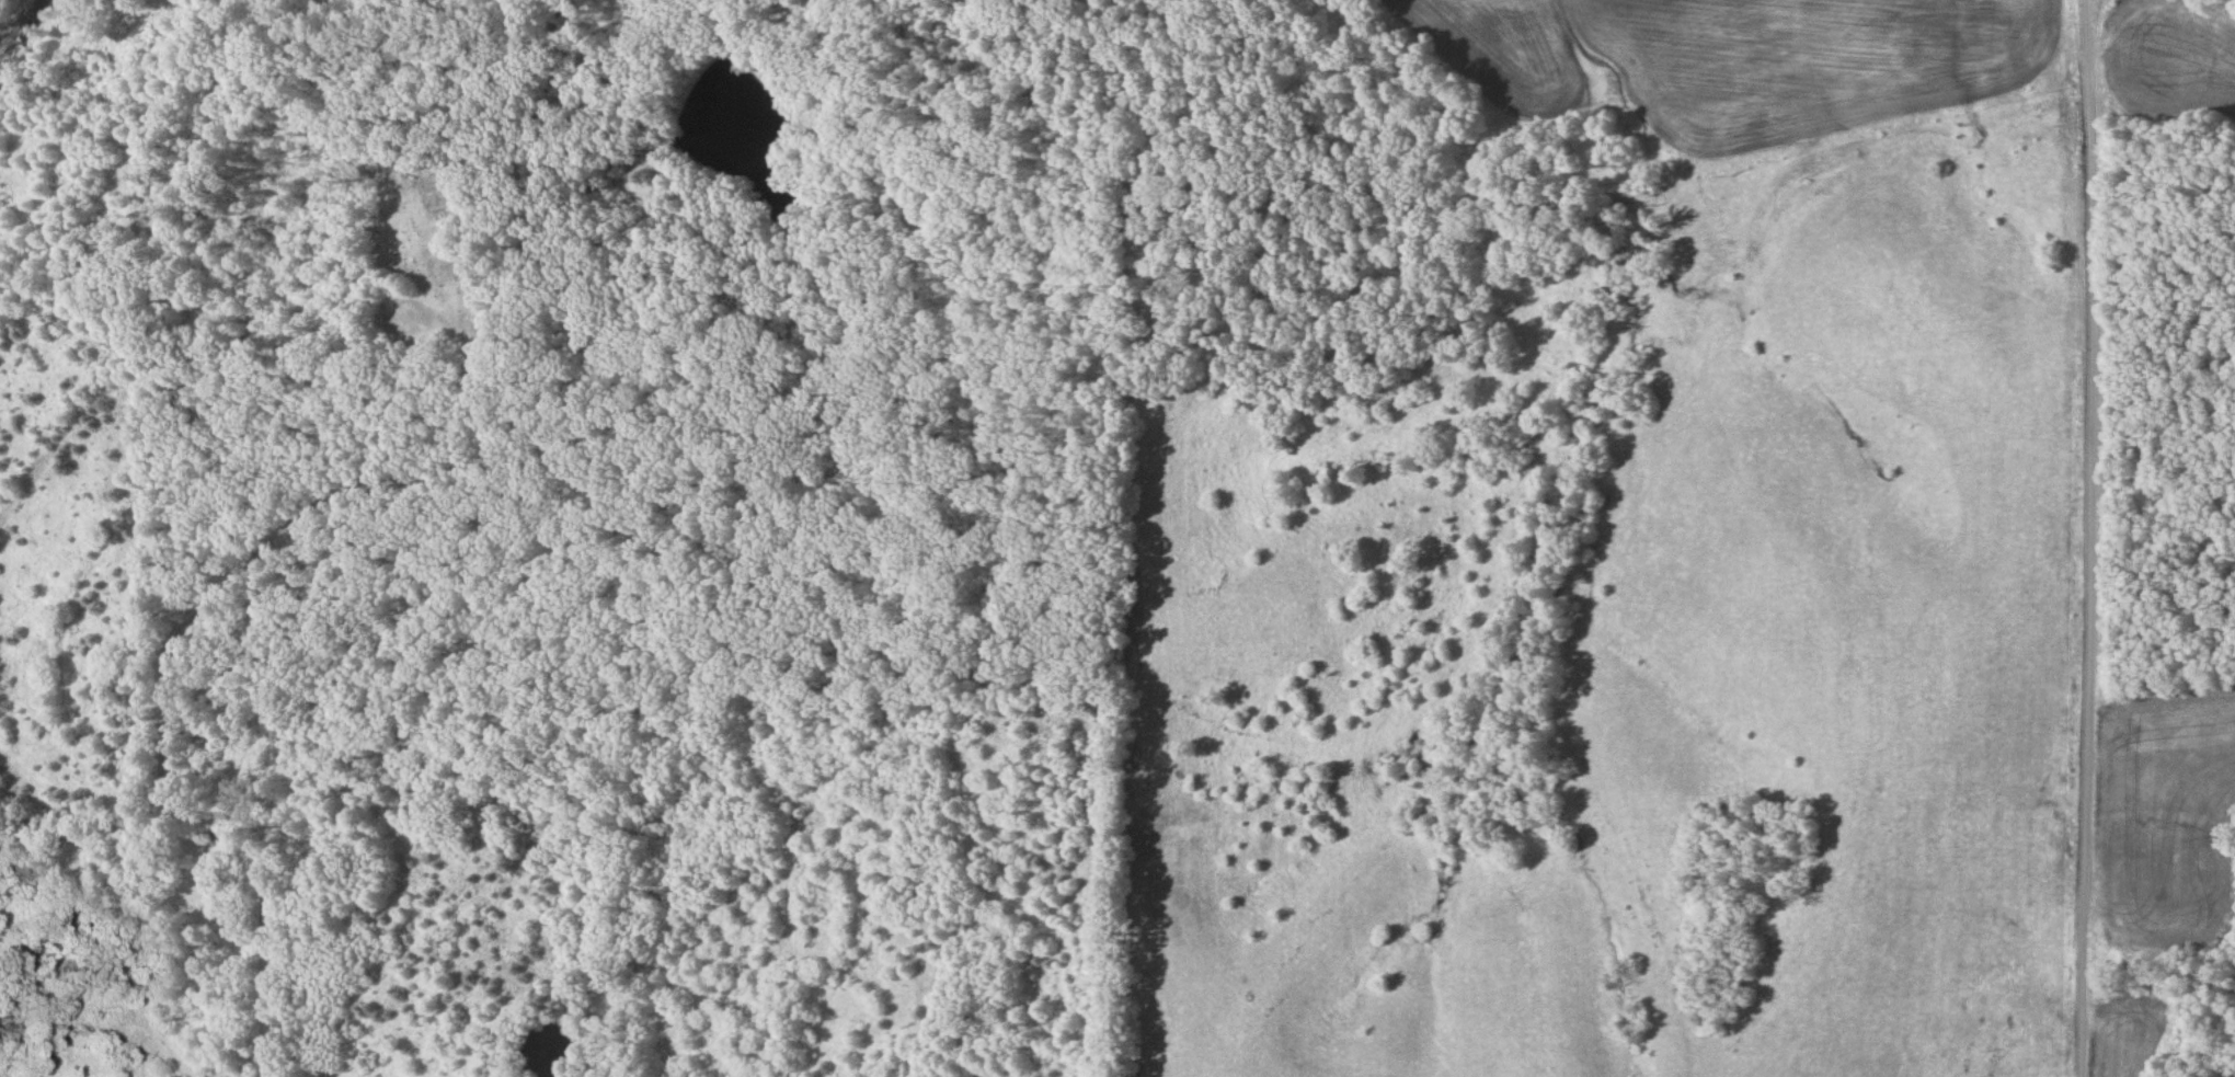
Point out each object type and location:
road: (2090, 538)
road: (278, 860)

